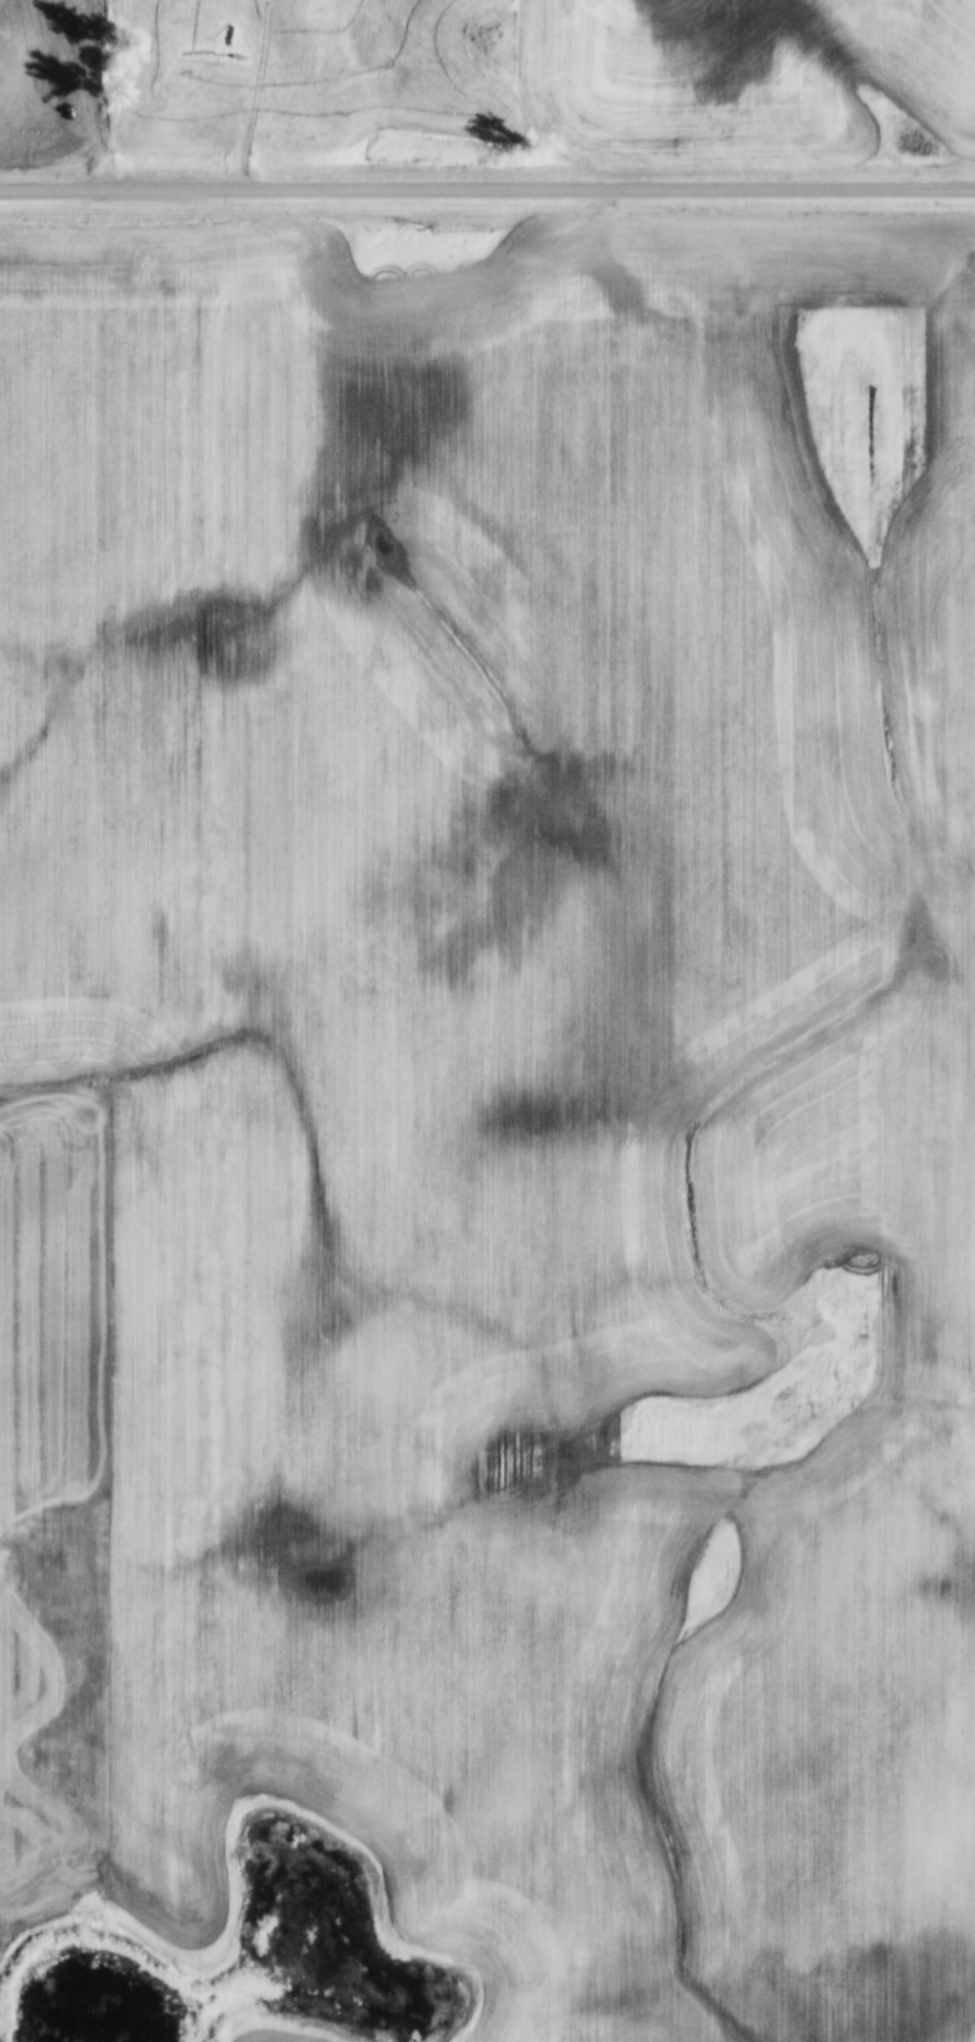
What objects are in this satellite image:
road: (256, 93)
road: (487, 185)

